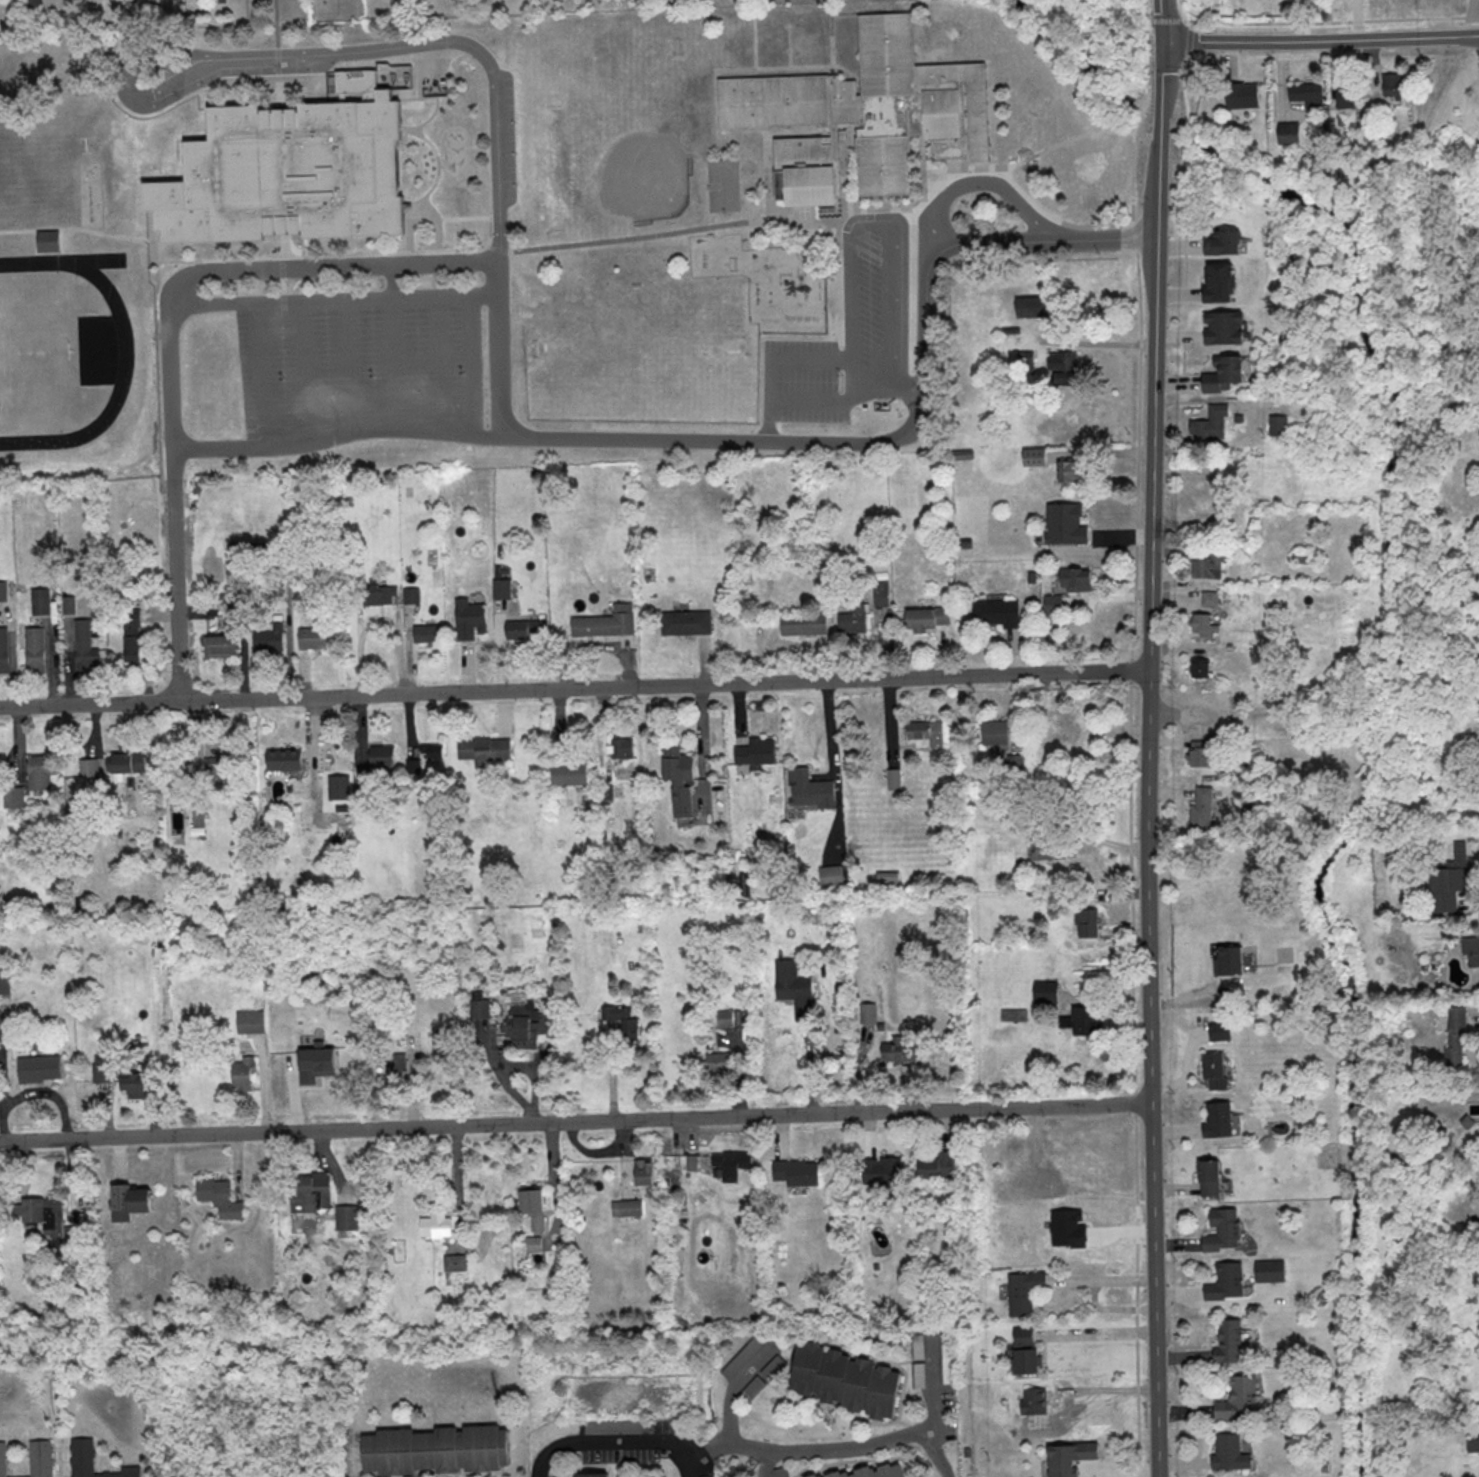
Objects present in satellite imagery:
road: (1163, 20)
road: (1322, 38)
traffic signals: (1165, 42)
road: (157, 52)
road: (277, 56)
road: (755, 73)
building: (1389, 86)
road: (175, 89)
building: (1304, 92)
building: (1238, 94)
building: (1343, 94)
road: (715, 104)
road: (493, 115)
building: (866, 116)
building: (1285, 132)
park: (503, 139)
road: (1065, 140)
park: (629, 164)
building: (290, 172)
park: (724, 187)
road: (1004, 188)
road: (1182, 195)
road: (1058, 219)
road: (896, 224)
road: (82, 229)
road: (944, 235)
building: (1218, 241)
building: (50, 242)
road: (561, 246)
road: (49, 252)
road: (282, 263)
road: (253, 271)
building: (1214, 281)
road: (305, 303)
building: (1031, 306)
road: (855, 307)
road: (889, 323)
building: (1220, 327)
parking lot: (847, 344)
park: (643, 347)
road: (396, 349)
park: (61, 350)
park: (35, 351)
road: (442, 361)
parking lot: (361, 362)
road: (351, 363)
building: (1064, 365)
building: (1220, 373)
road: (261, 374)
road: (770, 386)
road: (908, 388)
building: (1211, 423)
building: (1279, 425)
road: (749, 442)
building: (1034, 456)
building: (1071, 470)
building: (1062, 524)
building: (256, 549)
building: (1209, 565)
building: (212, 567)
road: (177, 576)
building: (233, 578)
building: (1075, 578)
road: (1133, 583)
building: (499, 587)
building: (6, 591)
building: (878, 592)
building: (375, 593)
building: (408, 594)
building: (1210, 597)
building: (37, 600)
building: (1053, 603)
building: (68, 604)
building: (994, 612)
building: (467, 617)
building: (924, 618)
building: (851, 619)
building: (684, 621)
building: (603, 622)
building: (801, 623)
building: (1204, 625)
building: (516, 628)
building: (425, 632)
building: (131, 634)
building: (310, 635)
building: (266, 639)
building: (220, 643)
building: (82, 645)
building: (31, 648)
building: (2, 649)
road: (702, 658)
road: (464, 665)
building: (1199, 667)
road: (575, 688)
road: (737, 714)
road: (502, 715)
building: (995, 732)
building: (923, 733)
building: (1068, 735)
building: (620, 747)
building: (481, 748)
building: (430, 750)
building: (1201, 751)
building: (753, 752)
building: (380, 756)
building: (283, 759)
road: (1148, 759)
building: (219, 761)
building: (124, 762)
building: (1039, 764)
building: (89, 767)
building: (38, 770)
road: (834, 772)
building: (567, 773)
building: (680, 778)
building: (891, 779)
building: (360, 782)
building: (337, 787)
building: (807, 788)
building: (11, 797)
building: (1198, 810)
building: (199, 816)
road: (1056, 825)
building: (1041, 844)
building: (827, 875)
building: (1455, 877)
building: (1088, 922)
building: (1470, 950)
building: (1227, 960)
building: (3, 982)
building: (791, 988)
building: (1045, 991)
building: (477, 1008)
building: (865, 1013)
building: (1013, 1014)
building: (729, 1017)
building: (248, 1021)
building: (619, 1021)
building: (1082, 1021)
building: (522, 1025)
building: (1217, 1031)
building: (1455, 1035)
building: (440, 1040)
building: (896, 1051)
building: (718, 1062)
building: (395, 1065)
road: (857, 1067)
building: (35, 1068)
road: (608, 1070)
building: (1211, 1070)
building: (99, 1072)
building: (241, 1072)
road: (498, 1074)
road: (259, 1081)
building: (131, 1085)
road: (47, 1093)
road: (150, 1102)
road: (103, 1109)
building: (1215, 1119)
road: (575, 1122)
road: (942, 1131)
road: (868, 1136)
road: (689, 1137)
road: (777, 1138)
road: (623, 1160)
road: (117, 1161)
building: (689, 1163)
building: (729, 1163)
building: (933, 1165)
road: (234, 1167)
road: (330, 1167)
building: (641, 1172)
building: (793, 1172)
building: (879, 1175)
building: (1206, 1177)
road: (553, 1188)
road: (1176, 1188)
road: (454, 1190)
building: (307, 1193)
building: (217, 1197)
building: (126, 1202)
building: (530, 1205)
building: (628, 1207)
building: (40, 1213)
building: (345, 1217)
building: (433, 1225)
building: (1220, 1228)
road: (1177, 1243)
building: (531, 1244)
building: (454, 1262)
building: (1267, 1271)
building: (1223, 1281)
building: (1021, 1292)
road: (1191, 1293)
road: (1216, 1302)
road: (1094, 1333)
building: (1229, 1340)
building: (917, 1346)
building: (1022, 1351)
building: (742, 1357)
building: (773, 1367)
building: (919, 1374)
building: (843, 1380)
building: (756, 1385)
road: (734, 1390)
building: (1235, 1396)
building: (1031, 1401)
building: (619, 1426)
building: (1472, 1444)
building: (437, 1449)
road: (764, 1449)
road: (935, 1452)
building: (1227, 1453)
building: (1067, 1457)
building: (33, 1458)
building: (93, 1461)
road: (690, 1468)
building: (875, 1470)
building: (592, 1474)
building: (707, 1476)

